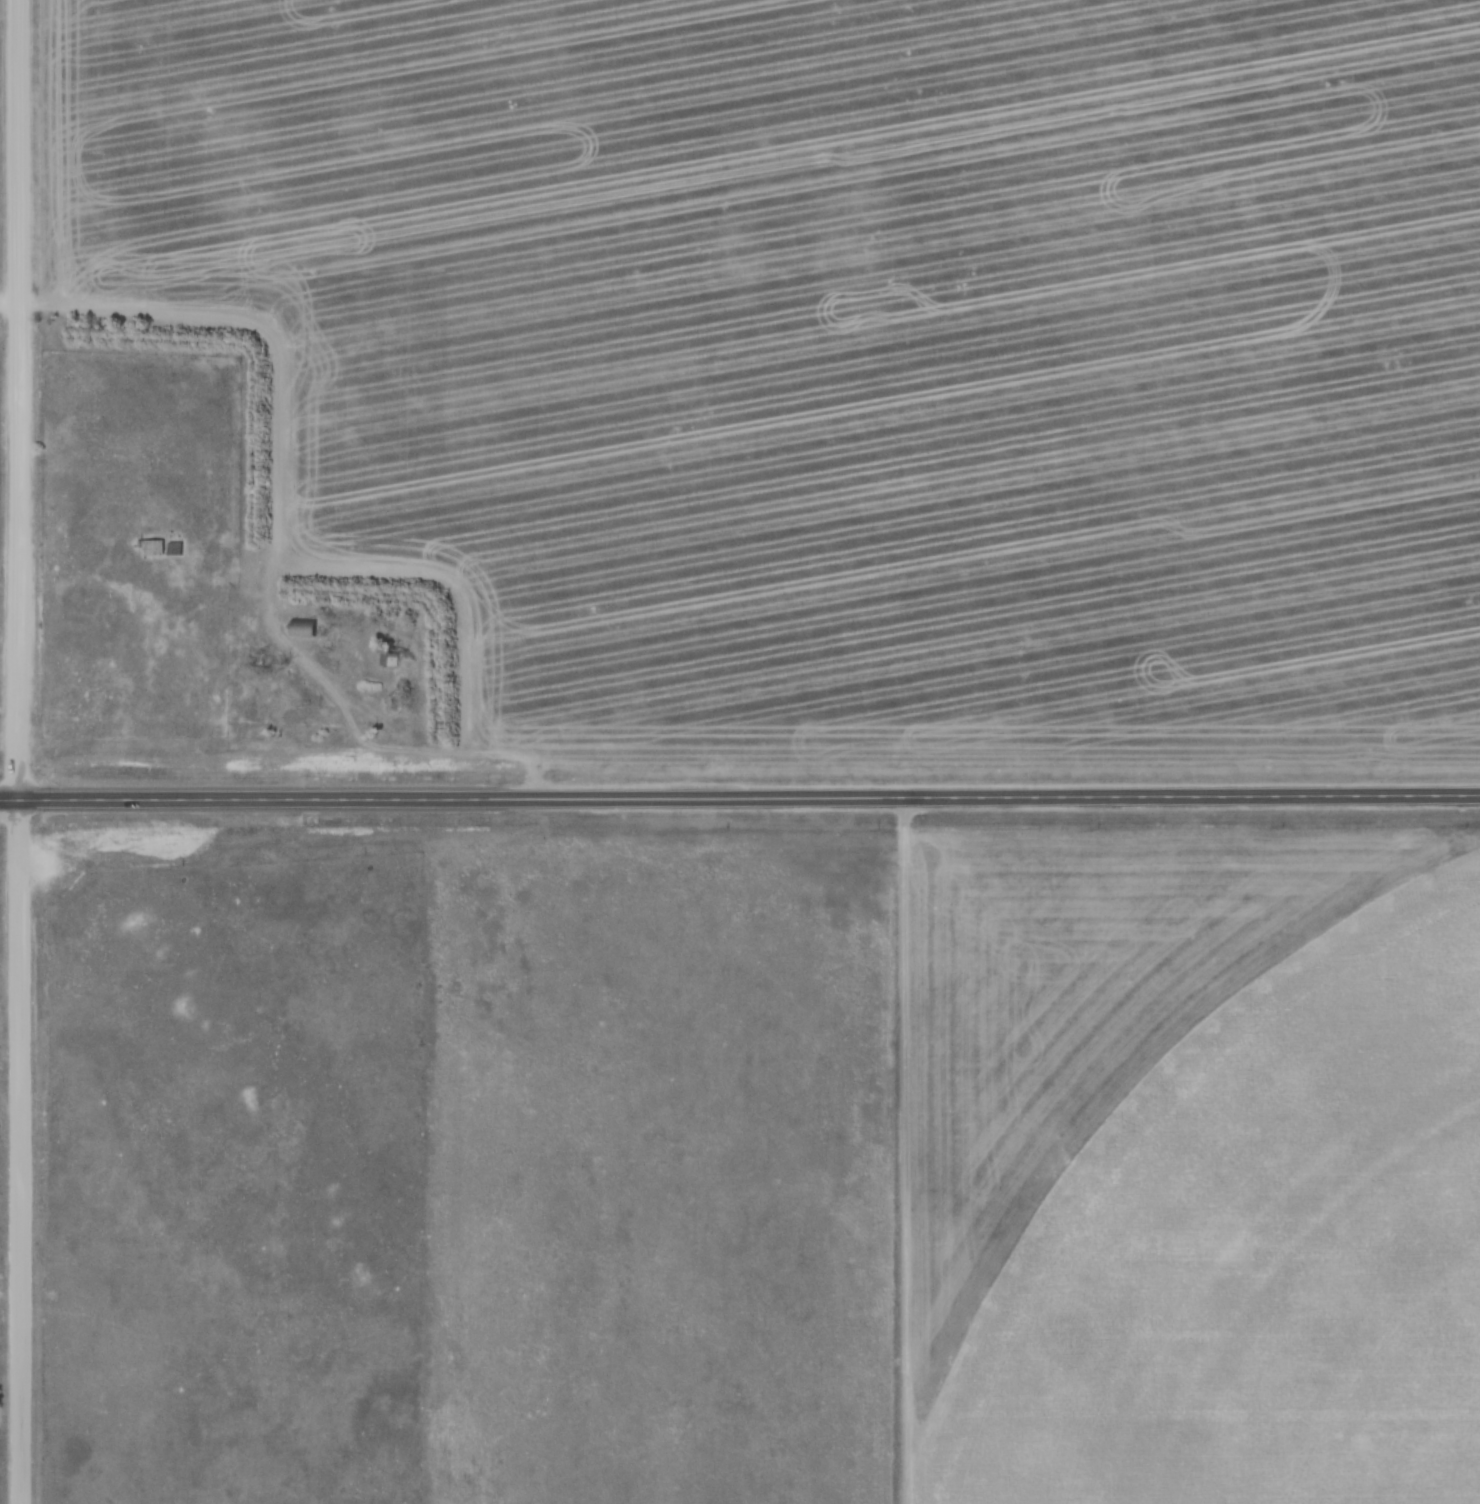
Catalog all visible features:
road: (19, 399)
building: (151, 547)
building: (175, 549)
building: (303, 628)
building: (390, 659)
road: (398, 752)
road: (740, 799)
road: (20, 1151)

